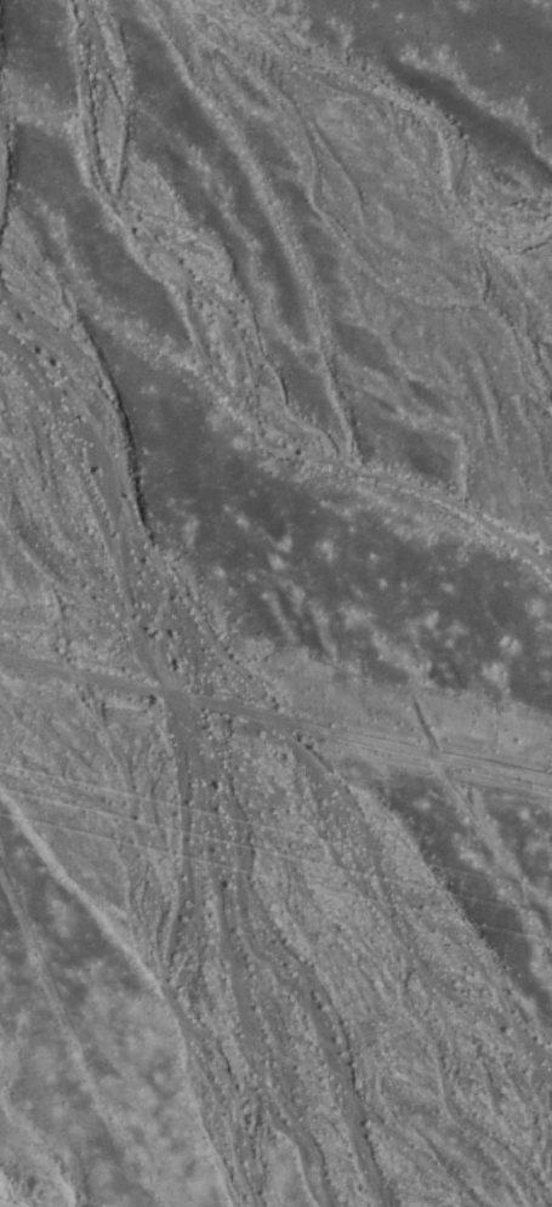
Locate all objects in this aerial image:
road: (275, 710)

